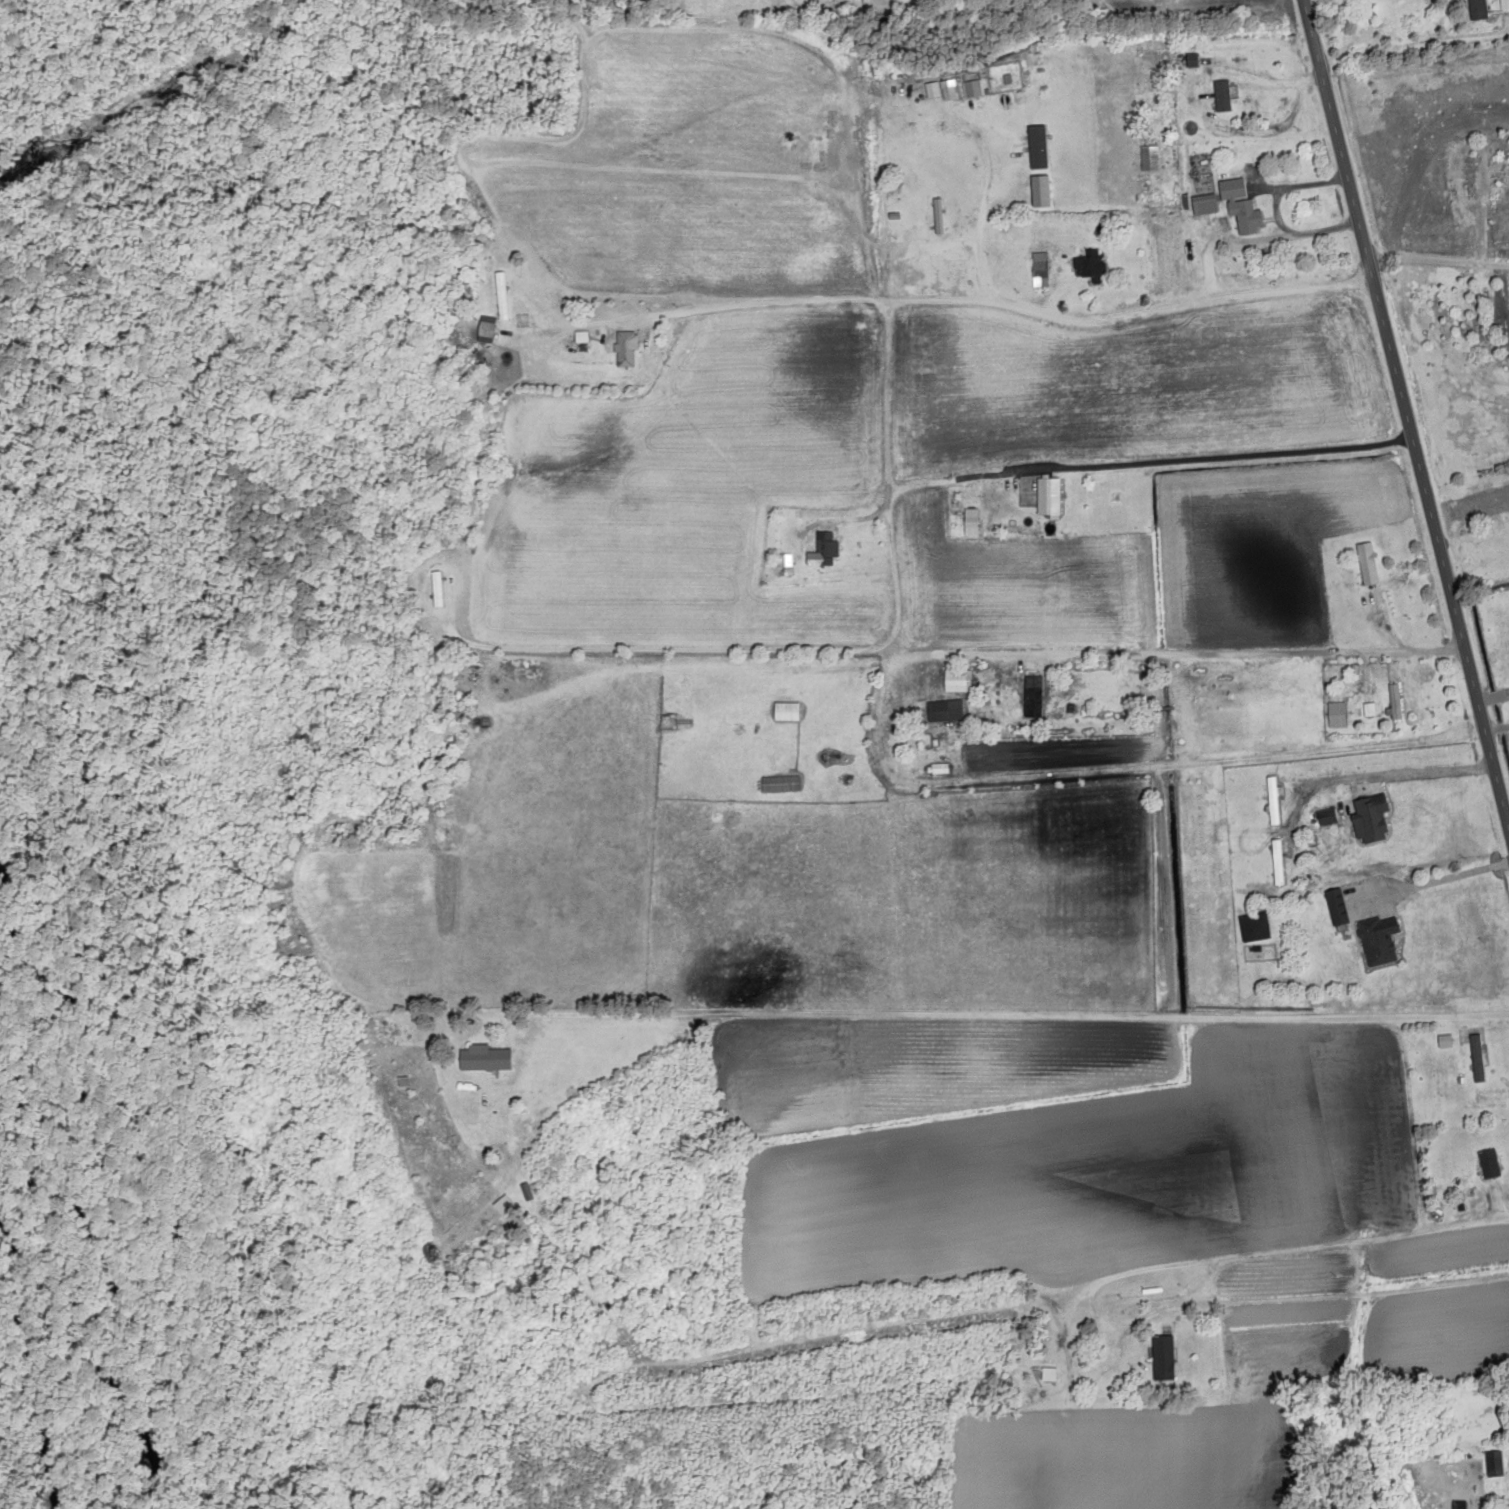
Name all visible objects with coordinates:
building: (1479, 10)
building: (1223, 97)
building: (1040, 151)
building: (1150, 160)
building: (1470, 177)
building: (1205, 206)
building: (1241, 207)
building: (938, 217)
road: (1439, 264)
building: (1090, 268)
building: (1040, 271)
building: (502, 297)
road: (994, 306)
building: (528, 322)
building: (487, 328)
building: (581, 340)
building: (626, 351)
road: (1405, 417)
building: (1049, 496)
building: (971, 522)
building: (827, 549)
building: (785, 564)
building: (1368, 564)
building: (438, 590)
road: (1234, 651)
building: (955, 681)
building: (1033, 696)
building: (1395, 703)
building: (945, 711)
building: (786, 712)
building: (1337, 716)
road: (1497, 730)
building: (1273, 801)
building: (1327, 817)
building: (1371, 818)
building: (1278, 863)
building: (1338, 907)
building: (1380, 941)
building: (482, 1058)
building: (1490, 1164)
road: (1321, 1245)
building: (1163, 1357)
building: (1049, 1375)
road: (1190, 1380)

